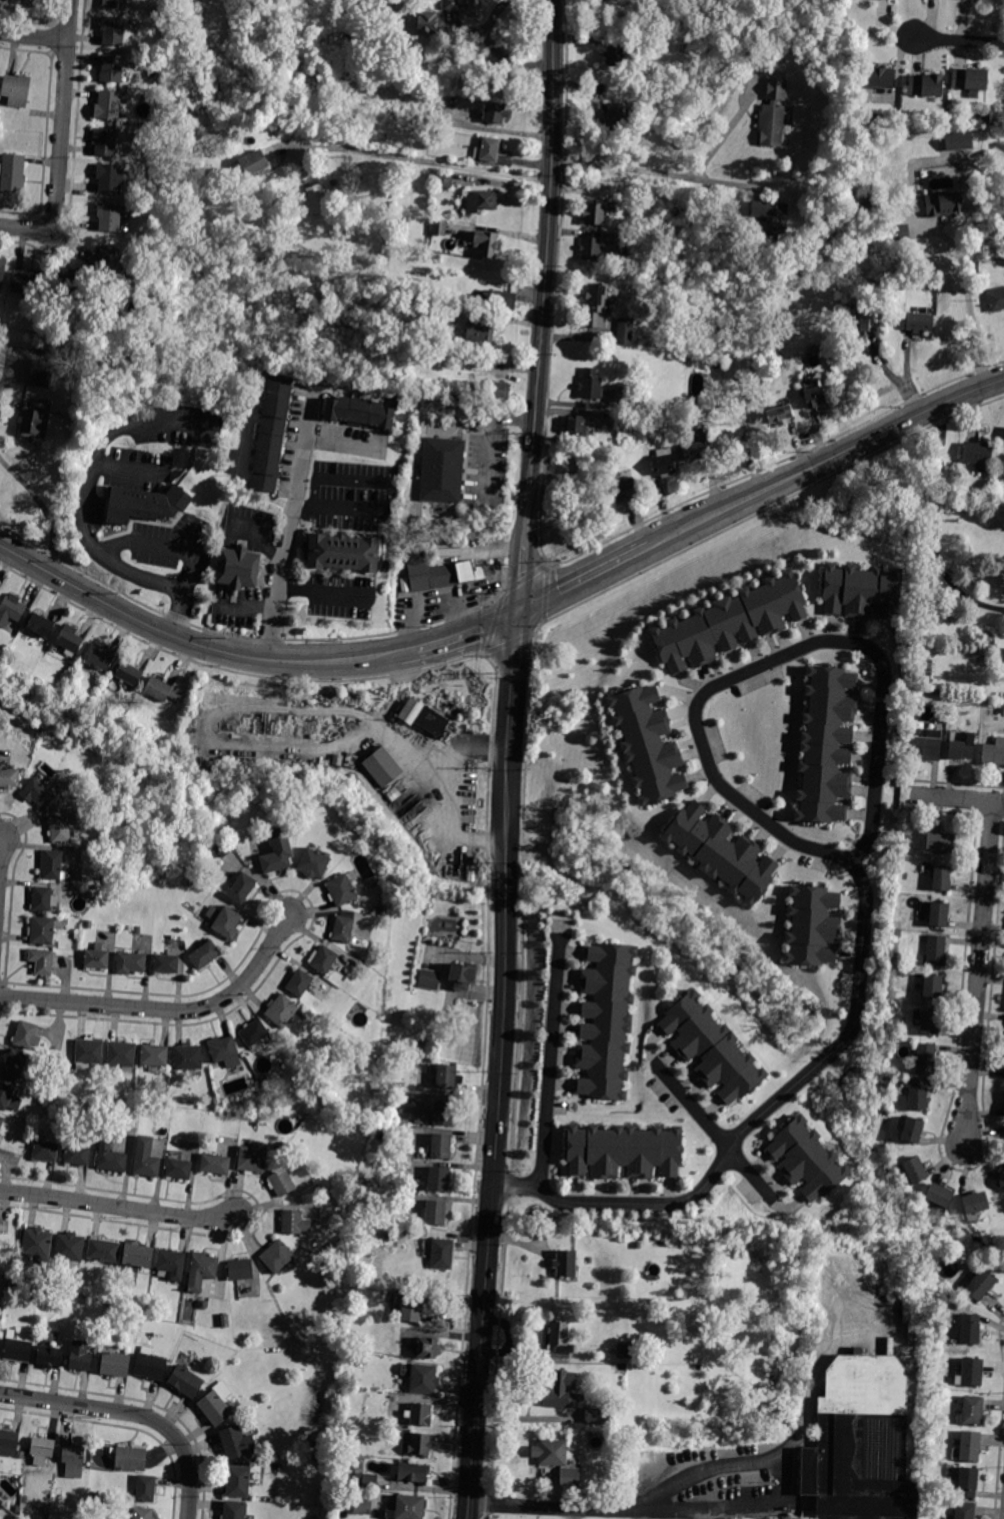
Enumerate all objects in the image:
building: (615, 0)
building: (970, 0)
building: (115, 4)
building: (451, 7)
building: (158, 12)
building: (427, 23)
building: (112, 30)
road: (33, 37)
road: (960, 41)
road: (498, 50)
building: (615, 55)
building: (836, 57)
building: (111, 69)
building: (678, 72)
building: (971, 77)
building: (879, 78)
building: (925, 85)
building: (16, 90)
building: (108, 105)
building: (495, 112)
building: (773, 115)
building: (620, 116)
building: (985, 117)
building: (154, 123)
road: (729, 128)
building: (958, 140)
road: (60, 142)
building: (105, 142)
building: (487, 149)
road: (424, 161)
building: (251, 163)
road: (660, 172)
building: (13, 173)
building: (109, 178)
building: (444, 179)
building: (334, 182)
building: (373, 184)
road: (965, 192)
building: (317, 199)
building: (482, 201)
building: (944, 204)
building: (436, 211)
building: (594, 213)
building: (771, 216)
building: (109, 217)
building: (404, 226)
building: (439, 227)
building: (900, 231)
building: (484, 242)
building: (591, 248)
building: (105, 260)
road: (547, 268)
building: (2, 269)
building: (439, 273)
building: (27, 284)
building: (72, 284)
building: (498, 299)
building: (996, 299)
building: (396, 303)
building: (597, 305)
building: (449, 313)
building: (868, 322)
building: (920, 323)
building: (624, 332)
building: (479, 337)
building: (135, 339)
building: (776, 351)
building: (774, 367)
building: (40, 373)
building: (591, 384)
building: (494, 389)
building: (814, 397)
building: (638, 401)
building: (360, 412)
building: (779, 413)
building: (32, 418)
road: (136, 419)
building: (576, 425)
building: (272, 434)
building: (1003, 444)
building: (698, 448)
building: (749, 455)
building: (979, 455)
road: (776, 461)
road: (824, 461)
building: (663, 462)
building: (442, 470)
road: (389, 483)
building: (625, 488)
building: (146, 504)
road: (42, 506)
road: (304, 506)
road: (294, 512)
road: (937, 526)
road: (163, 543)
building: (446, 546)
road: (91, 547)
building: (344, 552)
building: (239, 568)
road: (502, 568)
building: (476, 571)
road: (521, 573)
building: (429, 574)
road: (525, 577)
road: (583, 580)
building: (861, 590)
road: (320, 591)
road: (499, 593)
road: (545, 594)
building: (11, 609)
traffic signals: (520, 612)
road: (492, 623)
building: (730, 623)
building: (39, 626)
road: (238, 636)
road: (469, 636)
road: (535, 638)
building: (69, 640)
road: (510, 644)
road: (197, 645)
building: (51, 648)
building: (983, 649)
building: (99, 658)
road: (774, 660)
building: (129, 673)
road: (514, 675)
building: (163, 691)
building: (1002, 709)
building: (422, 716)
building: (38, 729)
building: (927, 743)
building: (648, 745)
building: (826, 745)
building: (961, 749)
building: (994, 751)
building: (383, 768)
building: (9, 777)
building: (38, 794)
road: (956, 798)
building: (60, 829)
road: (487, 830)
building: (940, 842)
building: (222, 847)
building: (721, 852)
road: (1, 853)
building: (373, 854)
building: (278, 856)
building: (314, 864)
building: (51, 865)
building: (941, 878)
building: (242, 888)
building: (341, 890)
building: (93, 893)
building: (42, 899)
building: (212, 911)
building: (939, 914)
building: (227, 922)
building: (812, 925)
building: (138, 929)
building: (342, 929)
building: (42, 930)
building: (935, 950)
building: (204, 956)
building: (97, 958)
building: (323, 959)
building: (42, 961)
building: (130, 963)
building: (165, 964)
road: (978, 974)
building: (463, 976)
building: (430, 979)
building: (299, 983)
building: (933, 986)
road: (165, 1010)
building: (281, 1010)
building: (892, 1010)
building: (606, 1021)
building: (930, 1023)
building: (254, 1032)
building: (26, 1035)
building: (711, 1048)
building: (222, 1049)
building: (88, 1053)
building: (122, 1054)
building: (154, 1057)
building: (188, 1057)
building: (926, 1059)
building: (59, 1062)
road: (552, 1064)
building: (15, 1067)
building: (65, 1071)
building: (448, 1077)
building: (887, 1083)
building: (46, 1092)
building: (917, 1093)
building: (8, 1098)
building: (408, 1104)
building: (443, 1113)
road: (762, 1120)
building: (1, 1121)
road: (498, 1129)
building: (913, 1130)
road: (721, 1135)
building: (440, 1146)
building: (45, 1149)
building: (623, 1151)
building: (76, 1153)
building: (111, 1159)
building: (806, 1159)
building: (252, 1160)
building: (215, 1164)
building: (146, 1166)
building: (179, 1169)
building: (915, 1170)
building: (439, 1179)
building: (1002, 1181)
building: (281, 1182)
road: (507, 1183)
building: (319, 1188)
building: (939, 1195)
building: (976, 1203)
road: (116, 1206)
building: (435, 1213)
building: (294, 1222)
building: (37, 1244)
building: (637, 1245)
building: (70, 1247)
building: (103, 1250)
building: (442, 1253)
building: (138, 1256)
building: (277, 1256)
building: (566, 1264)
building: (171, 1265)
building: (201, 1269)
building: (241, 1269)
building: (981, 1284)
building: (410, 1307)
building: (694, 1319)
building: (225, 1321)
building: (970, 1329)
building: (559, 1340)
building: (427, 1348)
building: (18, 1350)
building: (624, 1351)
building: (49, 1356)
building: (80, 1356)
road: (494, 1358)
building: (116, 1364)
building: (149, 1365)
building: (972, 1372)
building: (421, 1377)
road: (808, 1377)
building: (186, 1381)
building: (563, 1391)
building: (216, 1408)
building: (972, 1410)
road: (134, 1412)
building: (421, 1414)
building: (599, 1416)
building: (237, 1442)
building: (860, 1442)
building: (9, 1443)
building: (318, 1443)
building: (420, 1444)
building: (969, 1446)
building: (42, 1450)
building: (550, 1452)
building: (21, 1454)
building: (130, 1458)
building: (317, 1458)
building: (73, 1461)
building: (631, 1465)
building: (413, 1472)
building: (569, 1477)
building: (366, 1481)
building: (239, 1482)
building: (967, 1483)
building: (146, 1488)
building: (95, 1496)
road: (728, 1503)
building: (363, 1506)
building: (410, 1507)
building: (49, 1510)
building: (235, 1510)
building: (964, 1510)
building: (143, 1513)
building: (80, 1516)
building: (314, 1518)

